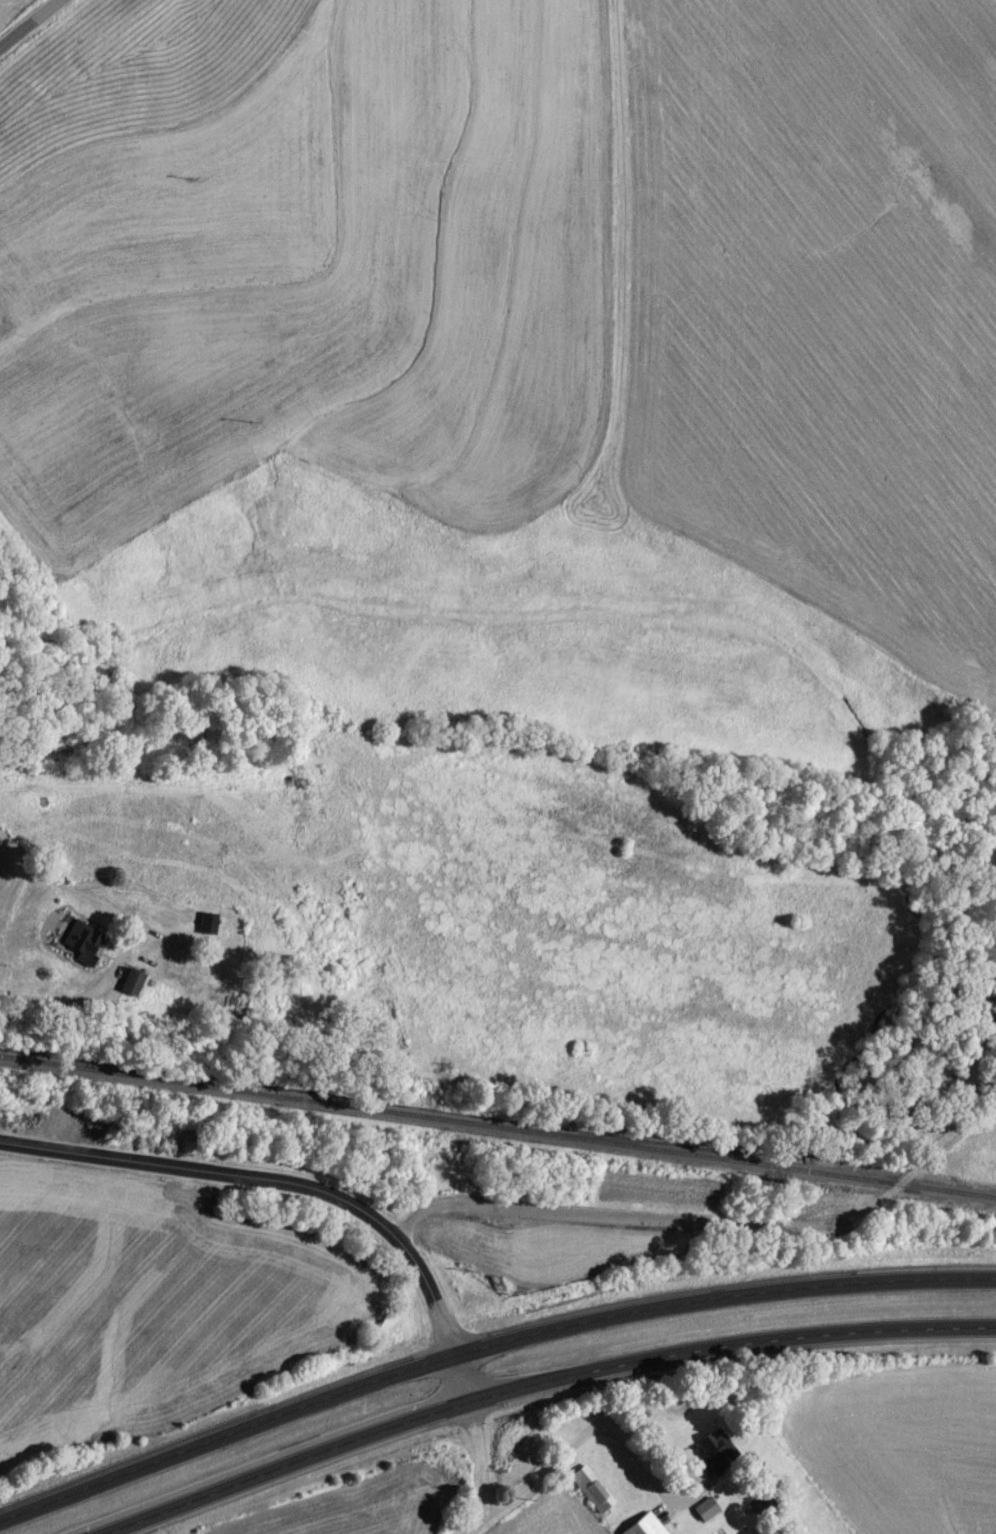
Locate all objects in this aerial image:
road: (32, 26)
road: (132, 932)
road: (174, 944)
building: (84, 951)
building: (130, 989)
building: (209, 1004)
railway: (497, 1132)
road: (291, 1190)
road: (711, 1228)
road: (485, 1348)
road: (545, 1385)
road: (484, 1468)
road: (650, 1477)
building: (589, 1495)
building: (642, 1528)

